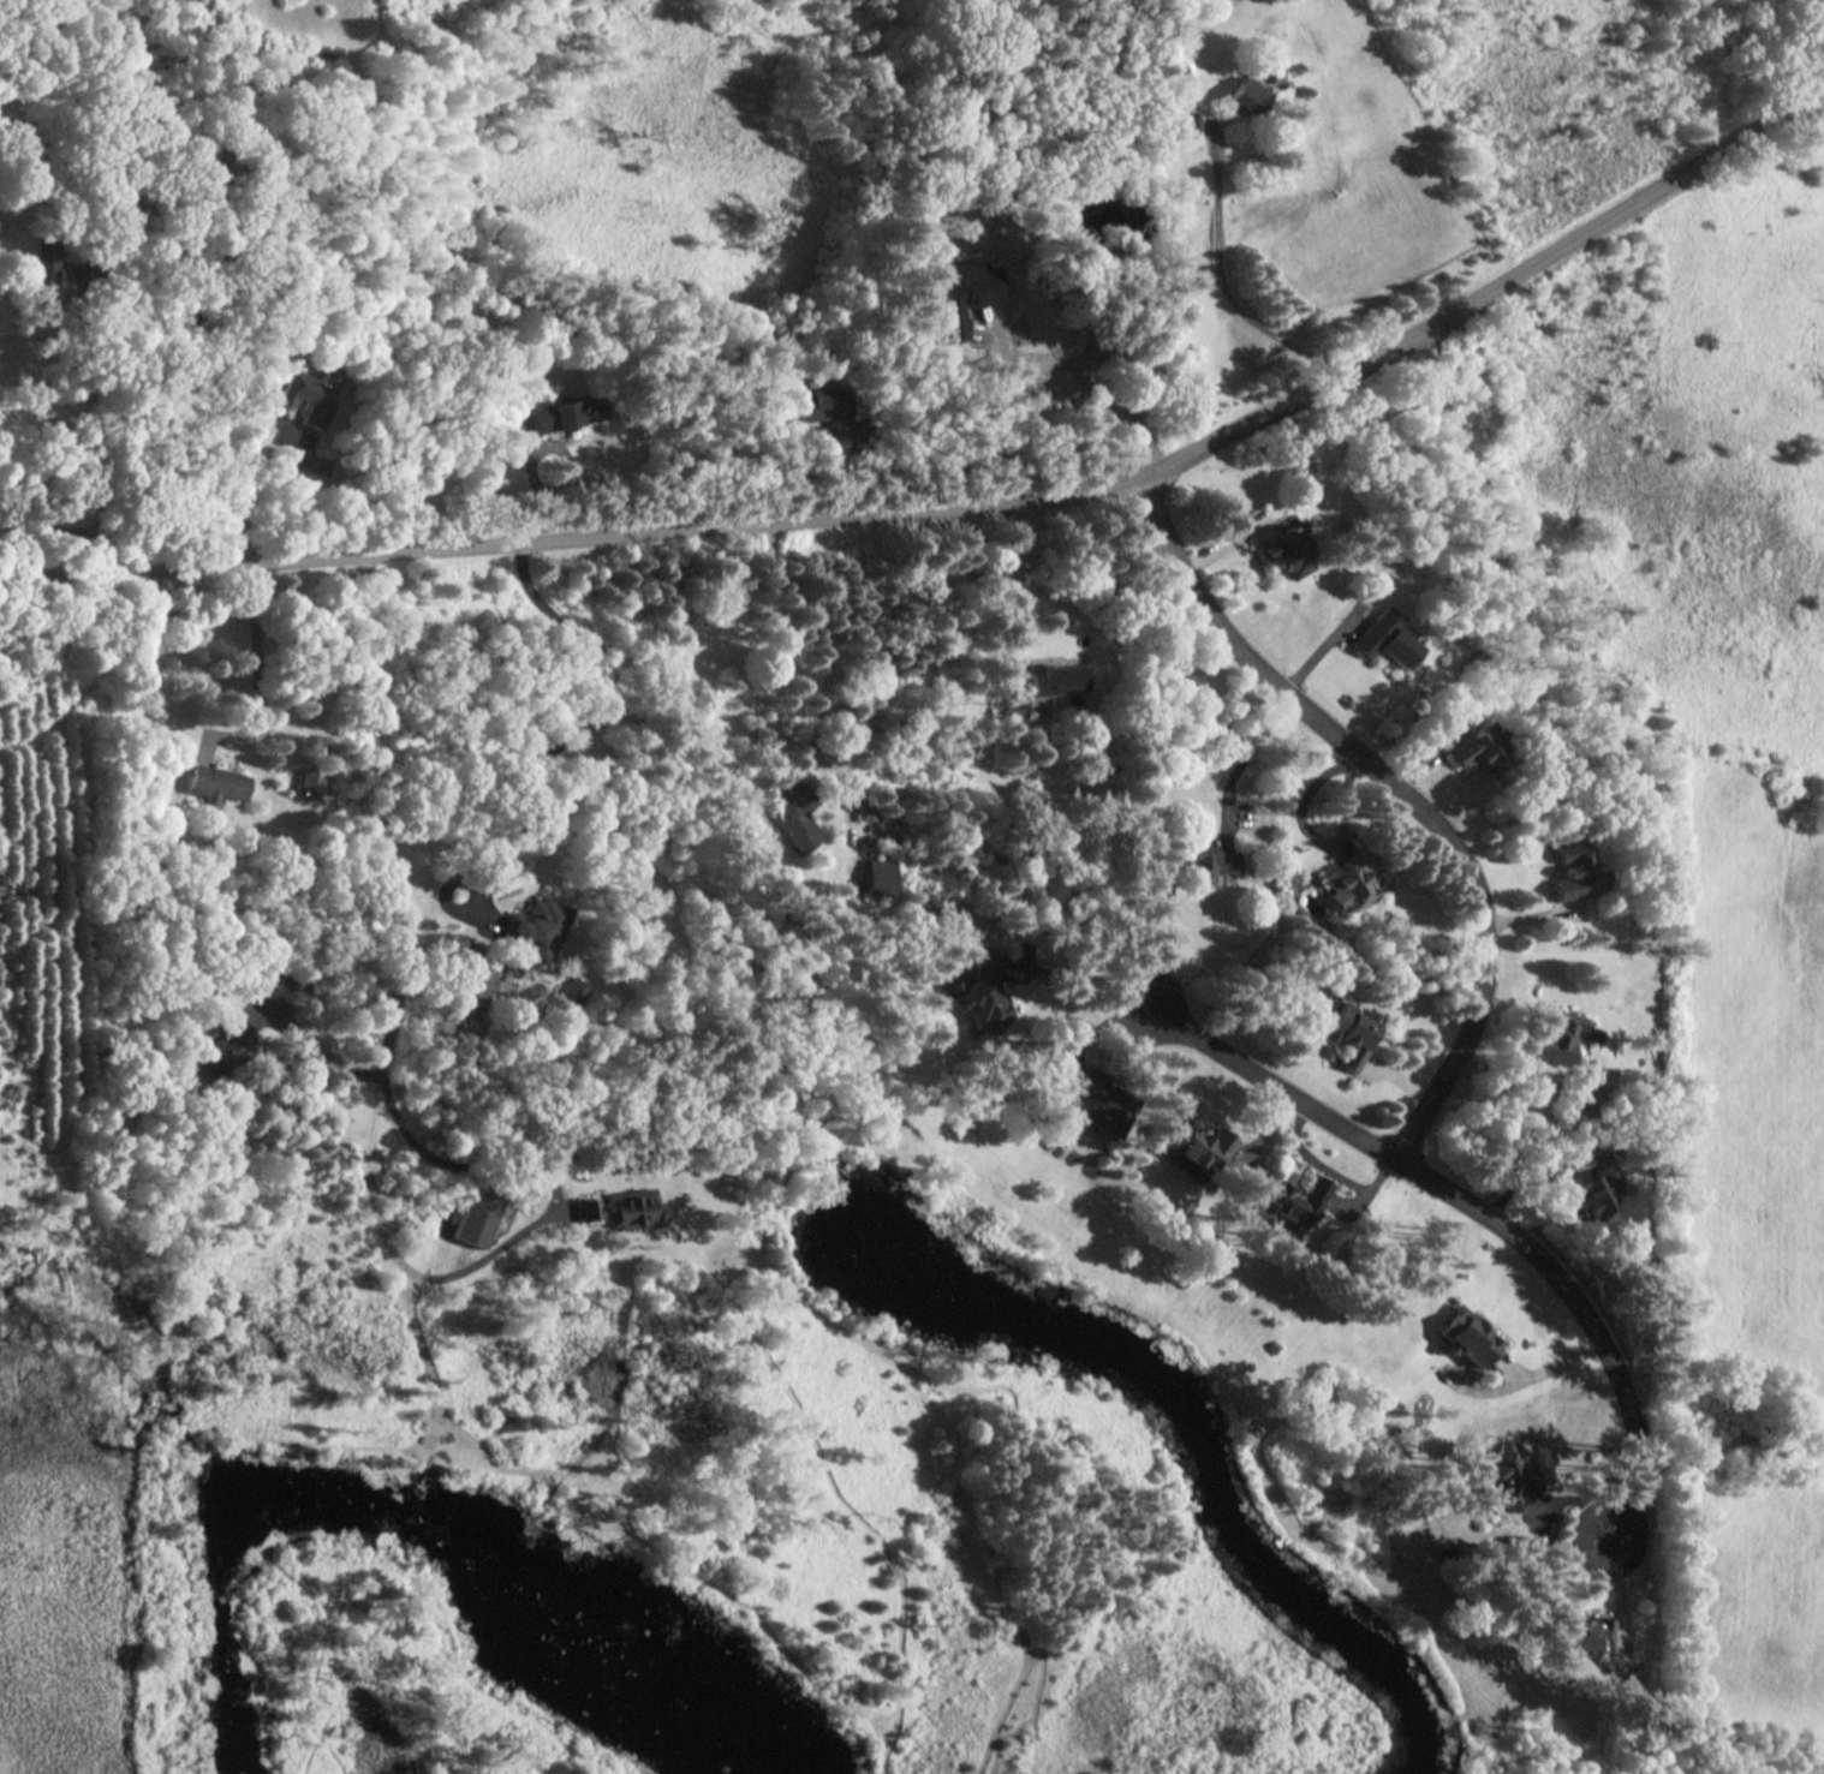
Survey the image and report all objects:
building: (1246, 96)
building: (1188, 125)
building: (43, 259)
road: (1223, 279)
building: (960, 298)
road: (1075, 392)
building: (306, 396)
building: (821, 408)
building: (562, 413)
road: (101, 447)
road: (1032, 494)
road: (239, 497)
road: (55, 528)
building: (1283, 550)
road: (1005, 580)
building: (1382, 638)
road: (261, 669)
building: (1013, 705)
road: (601, 713)
building: (1477, 749)
road: (1247, 759)
building: (216, 783)
building: (309, 783)
road: (1403, 795)
building: (791, 817)
road: (389, 852)
building: (1209, 861)
building: (1575, 871)
building: (877, 877)
building: (1347, 883)
building: (1160, 903)
building: (536, 930)
building: (281, 986)
building: (980, 991)
building: (573, 992)
building: (1351, 1032)
building: (1555, 1039)
building: (226, 1051)
road: (328, 1059)
building: (1097, 1101)
building: (1194, 1146)
road: (1325, 1170)
building: (1588, 1189)
building: (1289, 1201)
building: (621, 1208)
road: (1479, 1209)
building: (477, 1217)
building: (1467, 1336)
road: (1548, 1368)
building: (1501, 1476)
building: (1586, 1632)

